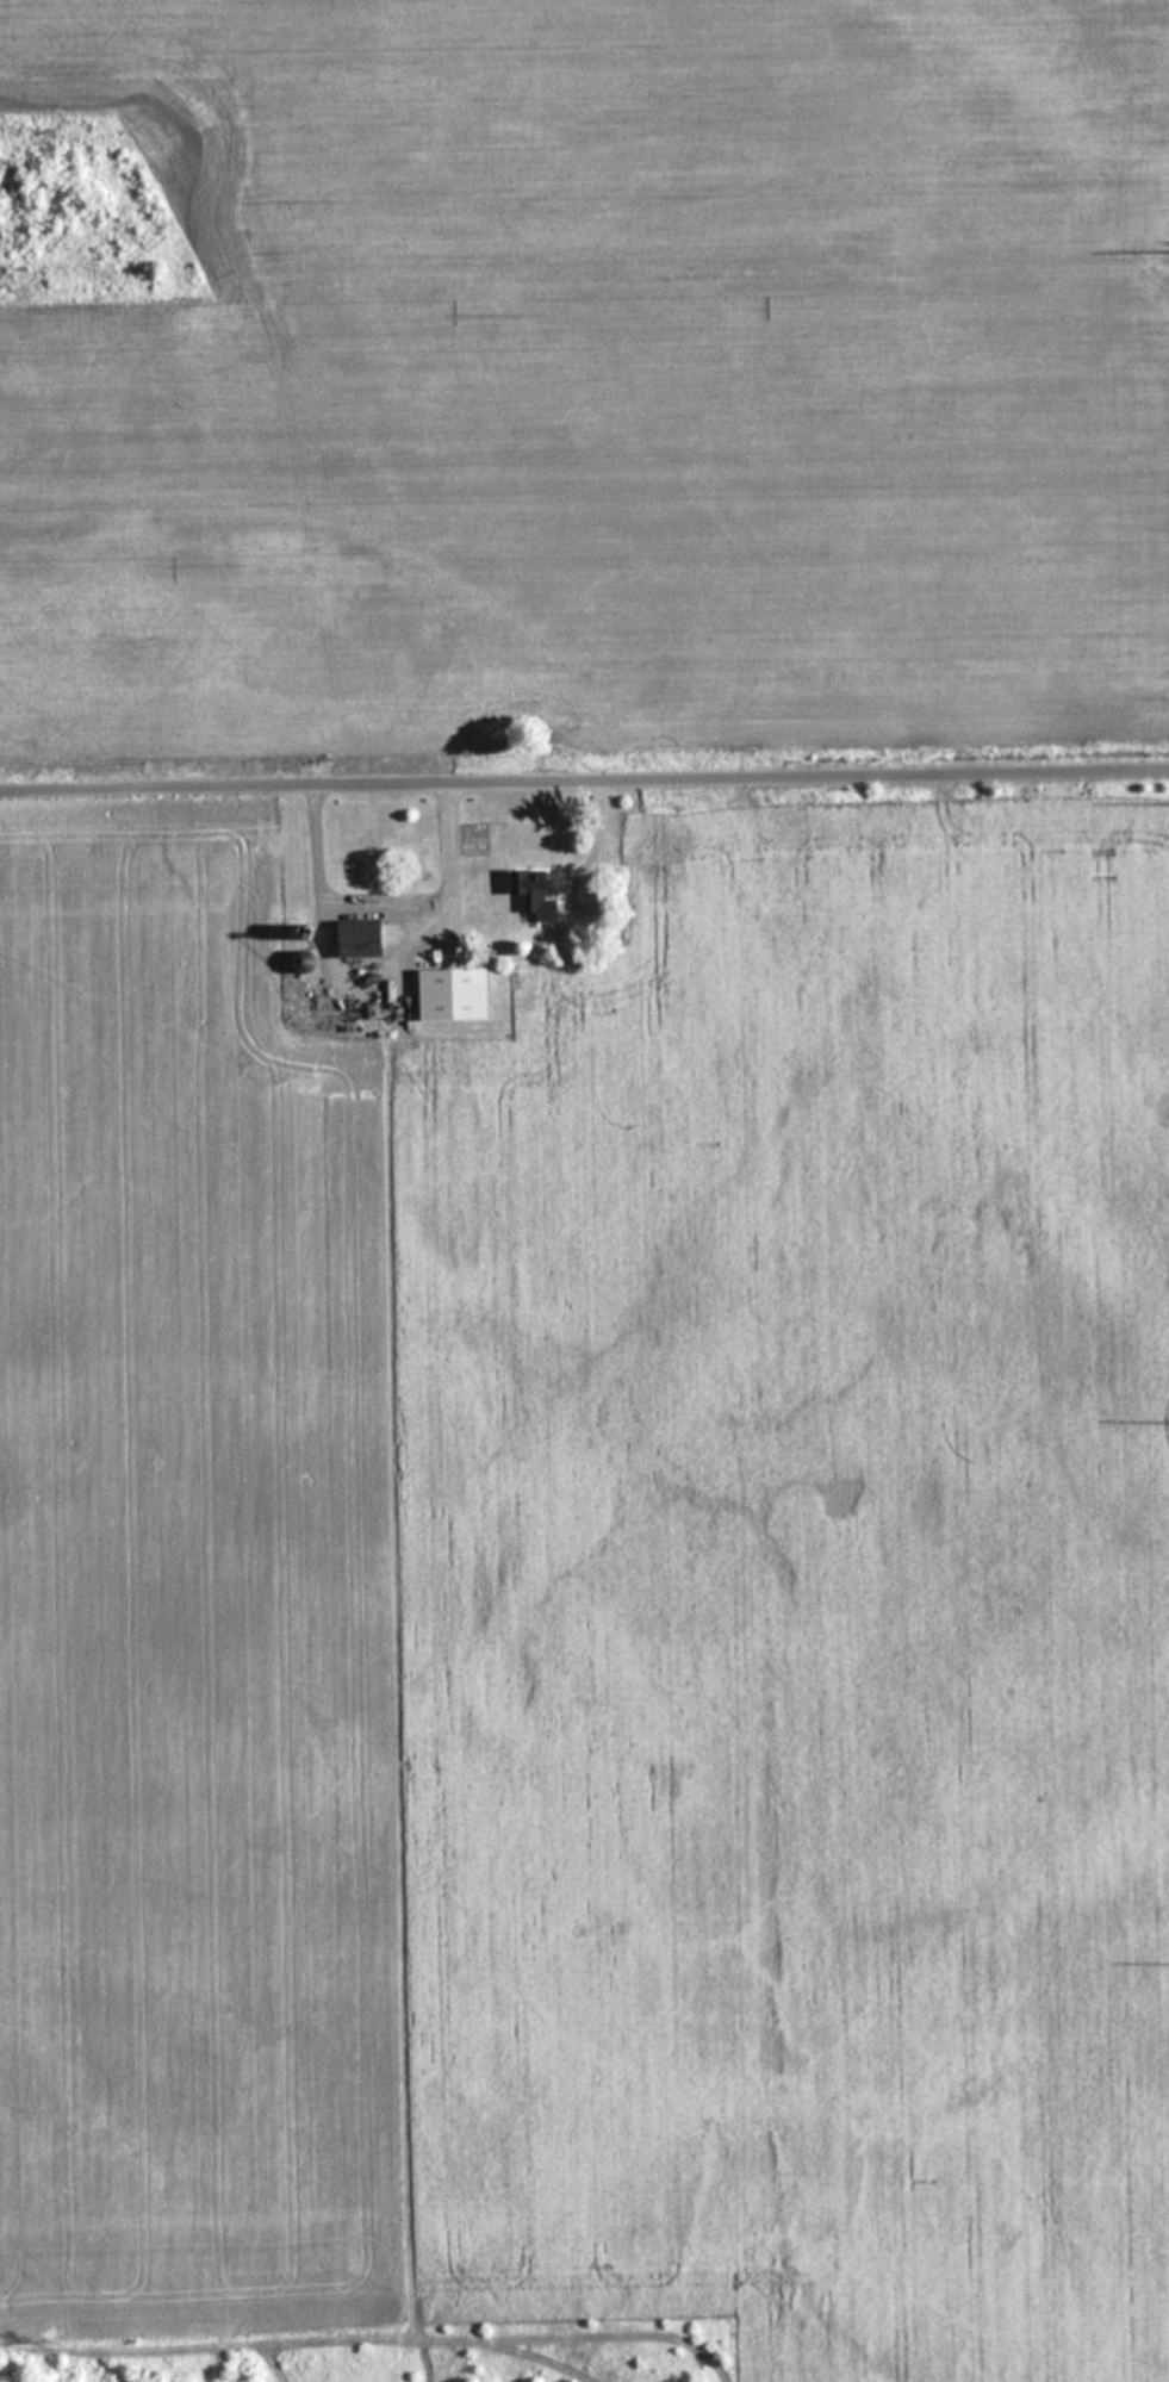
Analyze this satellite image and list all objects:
road: (584, 785)
building: (322, 819)
road: (365, 847)
building: (539, 896)
road: (381, 904)
building: (363, 938)
building: (309, 962)
building: (456, 994)

